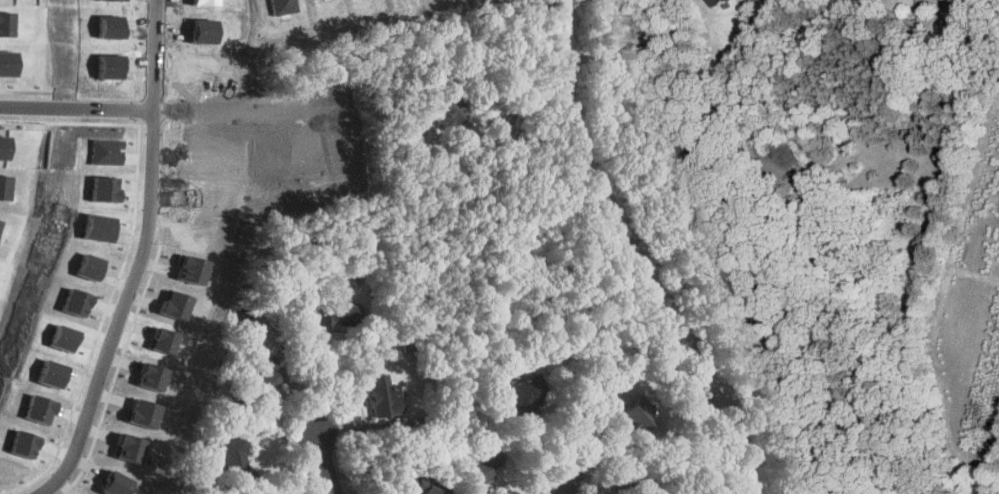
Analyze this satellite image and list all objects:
building: (717, 2)
road: (560, 42)
road: (163, 51)
road: (524, 106)
road: (77, 110)
road: (246, 114)
building: (455, 115)
building: (91, 266)
road: (644, 294)
building: (79, 302)
building: (178, 304)
road: (127, 308)
building: (337, 315)
road: (719, 325)
building: (67, 337)
building: (165, 339)
building: (56, 373)
building: (154, 375)
building: (259, 385)
building: (528, 394)
building: (384, 395)
building: (43, 409)
building: (146, 413)
building: (636, 415)
road: (803, 420)
building: (27, 443)
building: (131, 447)
road: (326, 461)
building: (238, 465)
building: (477, 467)
building: (117, 483)
building: (421, 486)
road: (561, 486)
building: (632, 491)

